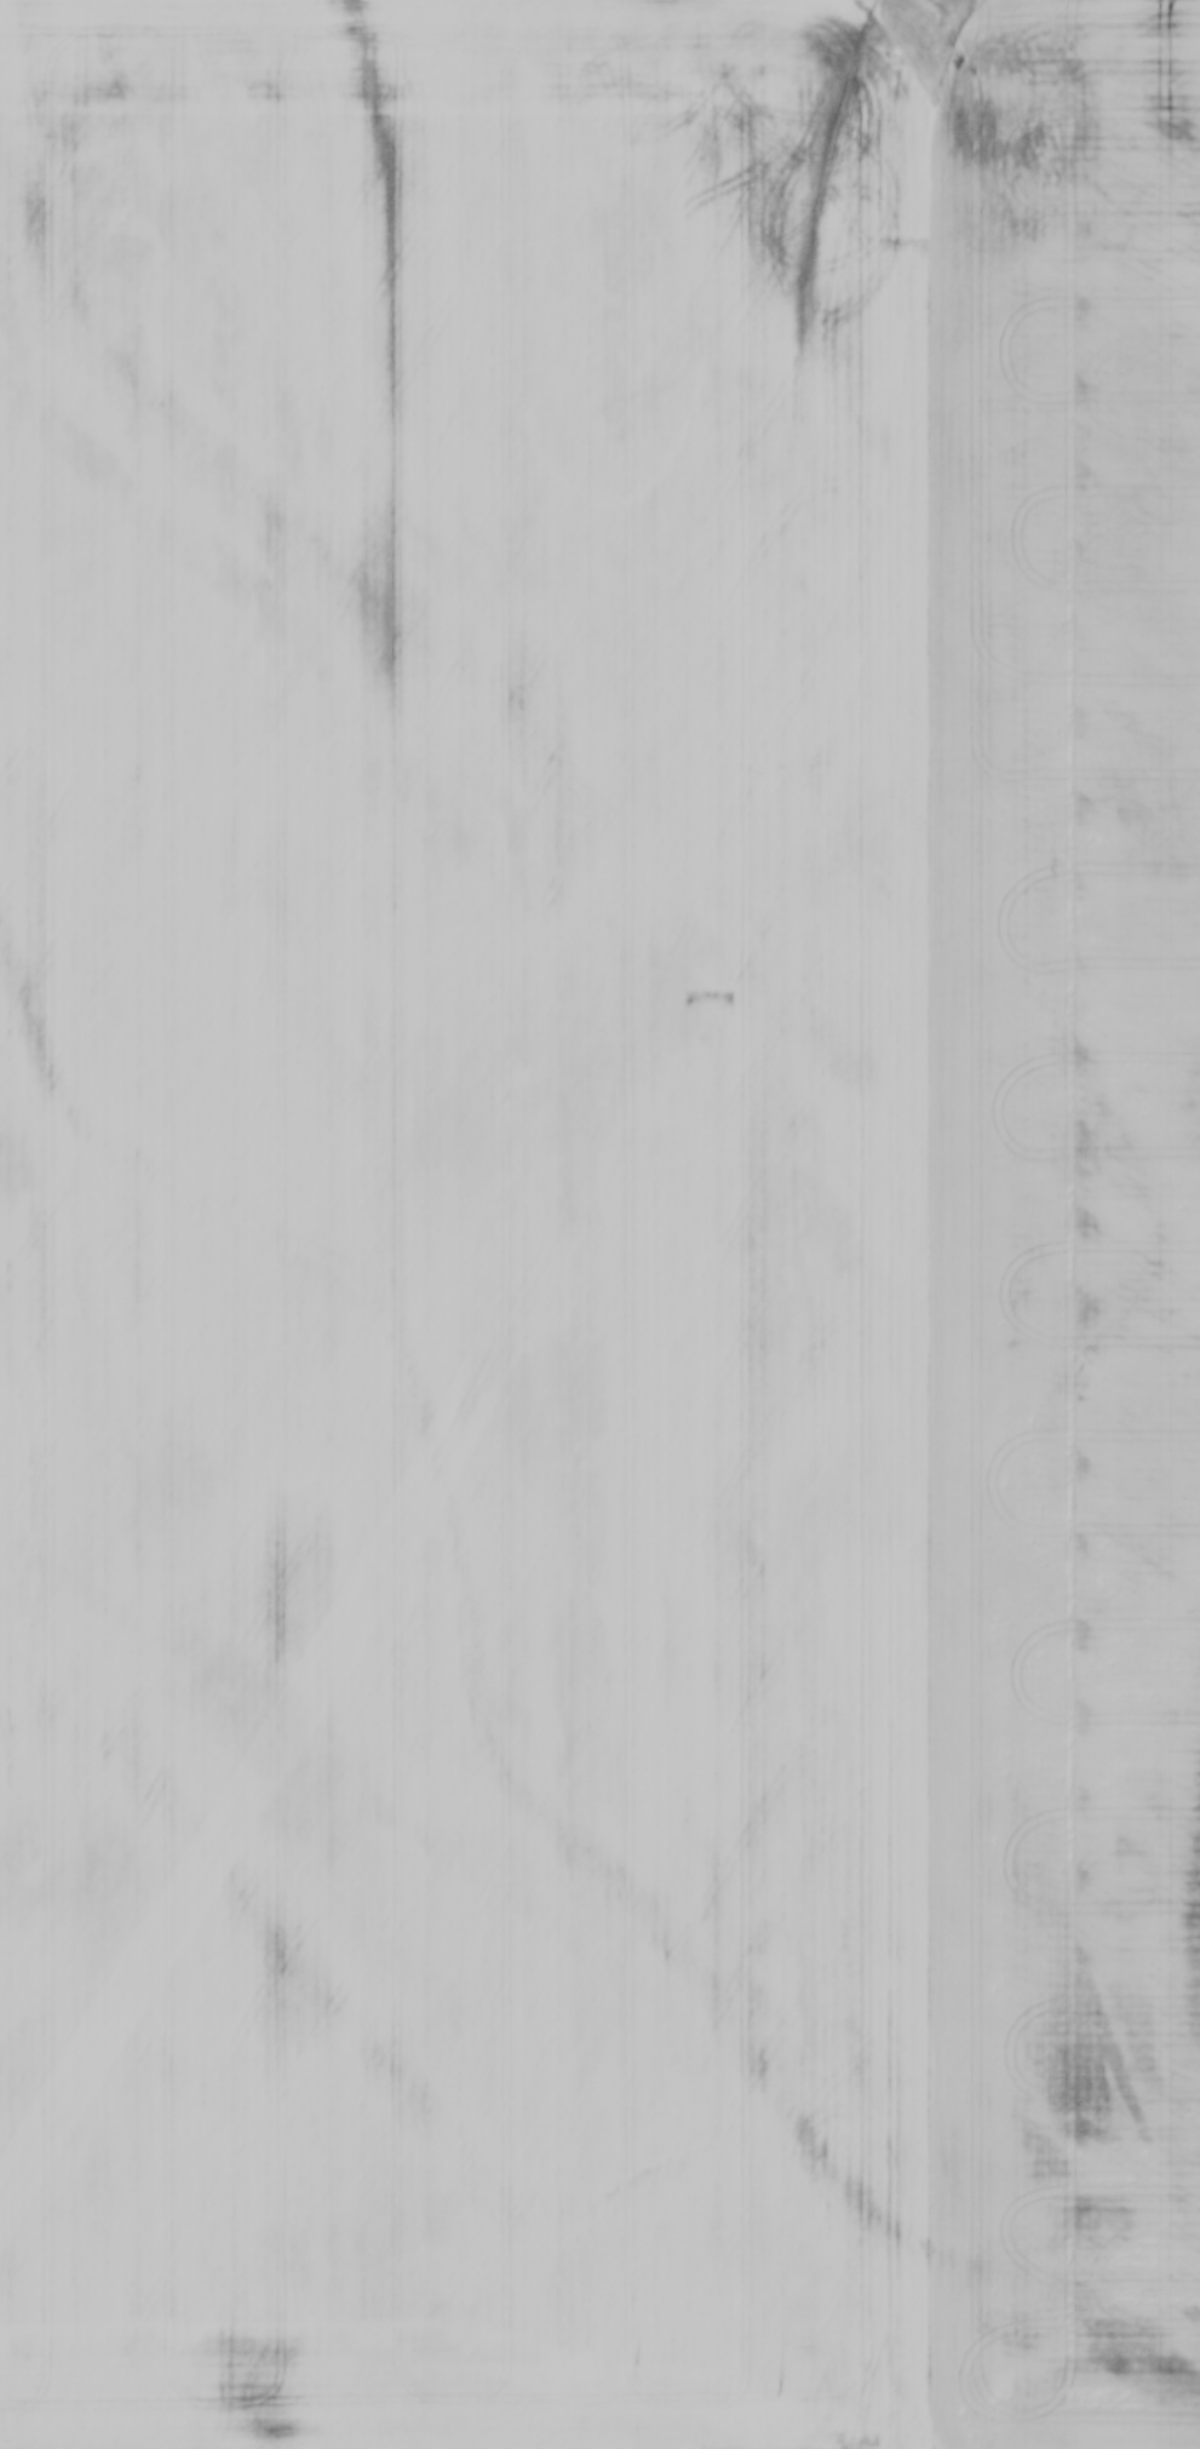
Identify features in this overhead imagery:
crop: (810, 2448)

